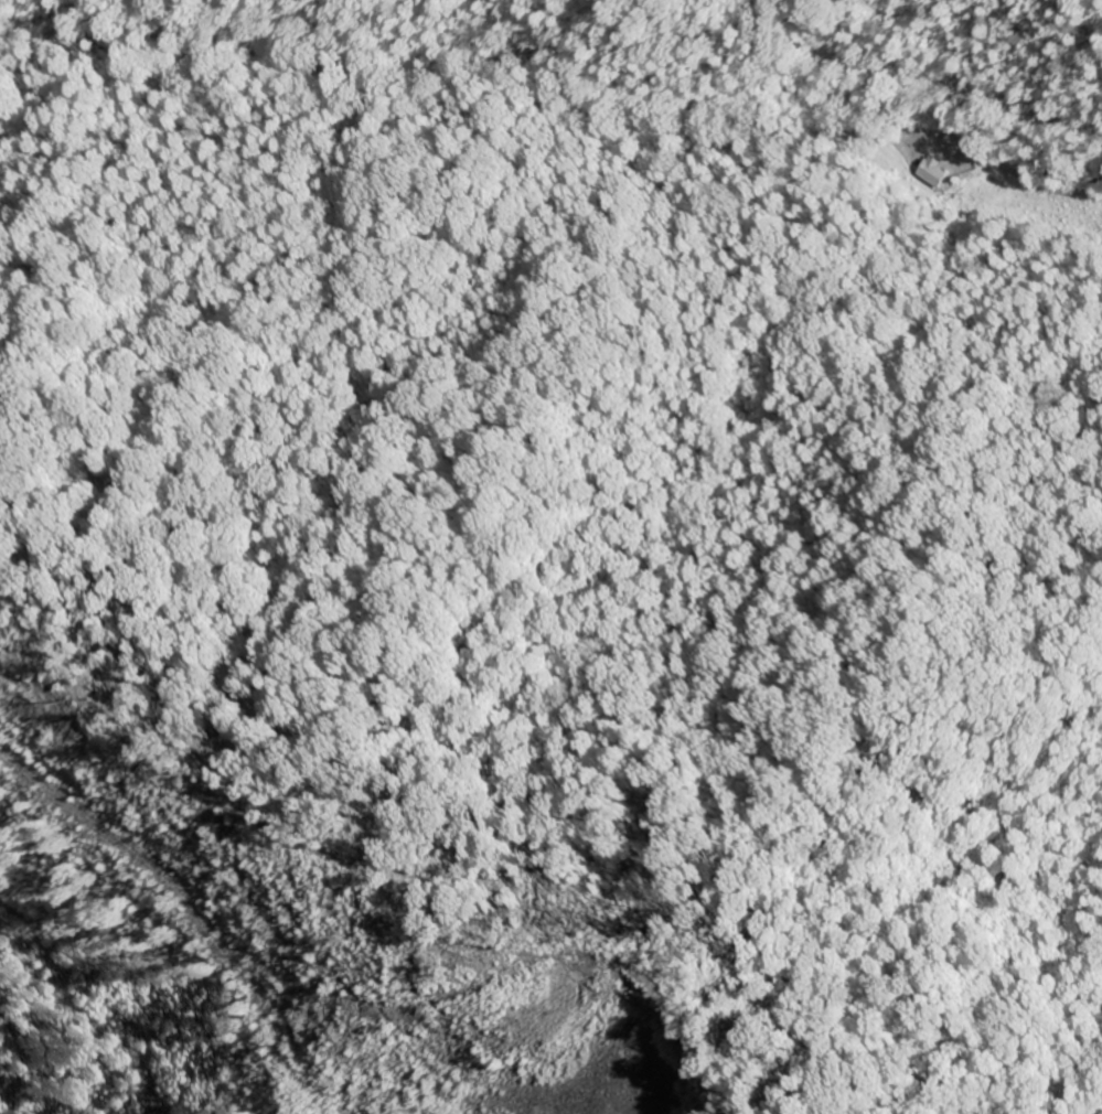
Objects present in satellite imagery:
road: (1005, 169)
building: (932, 173)

